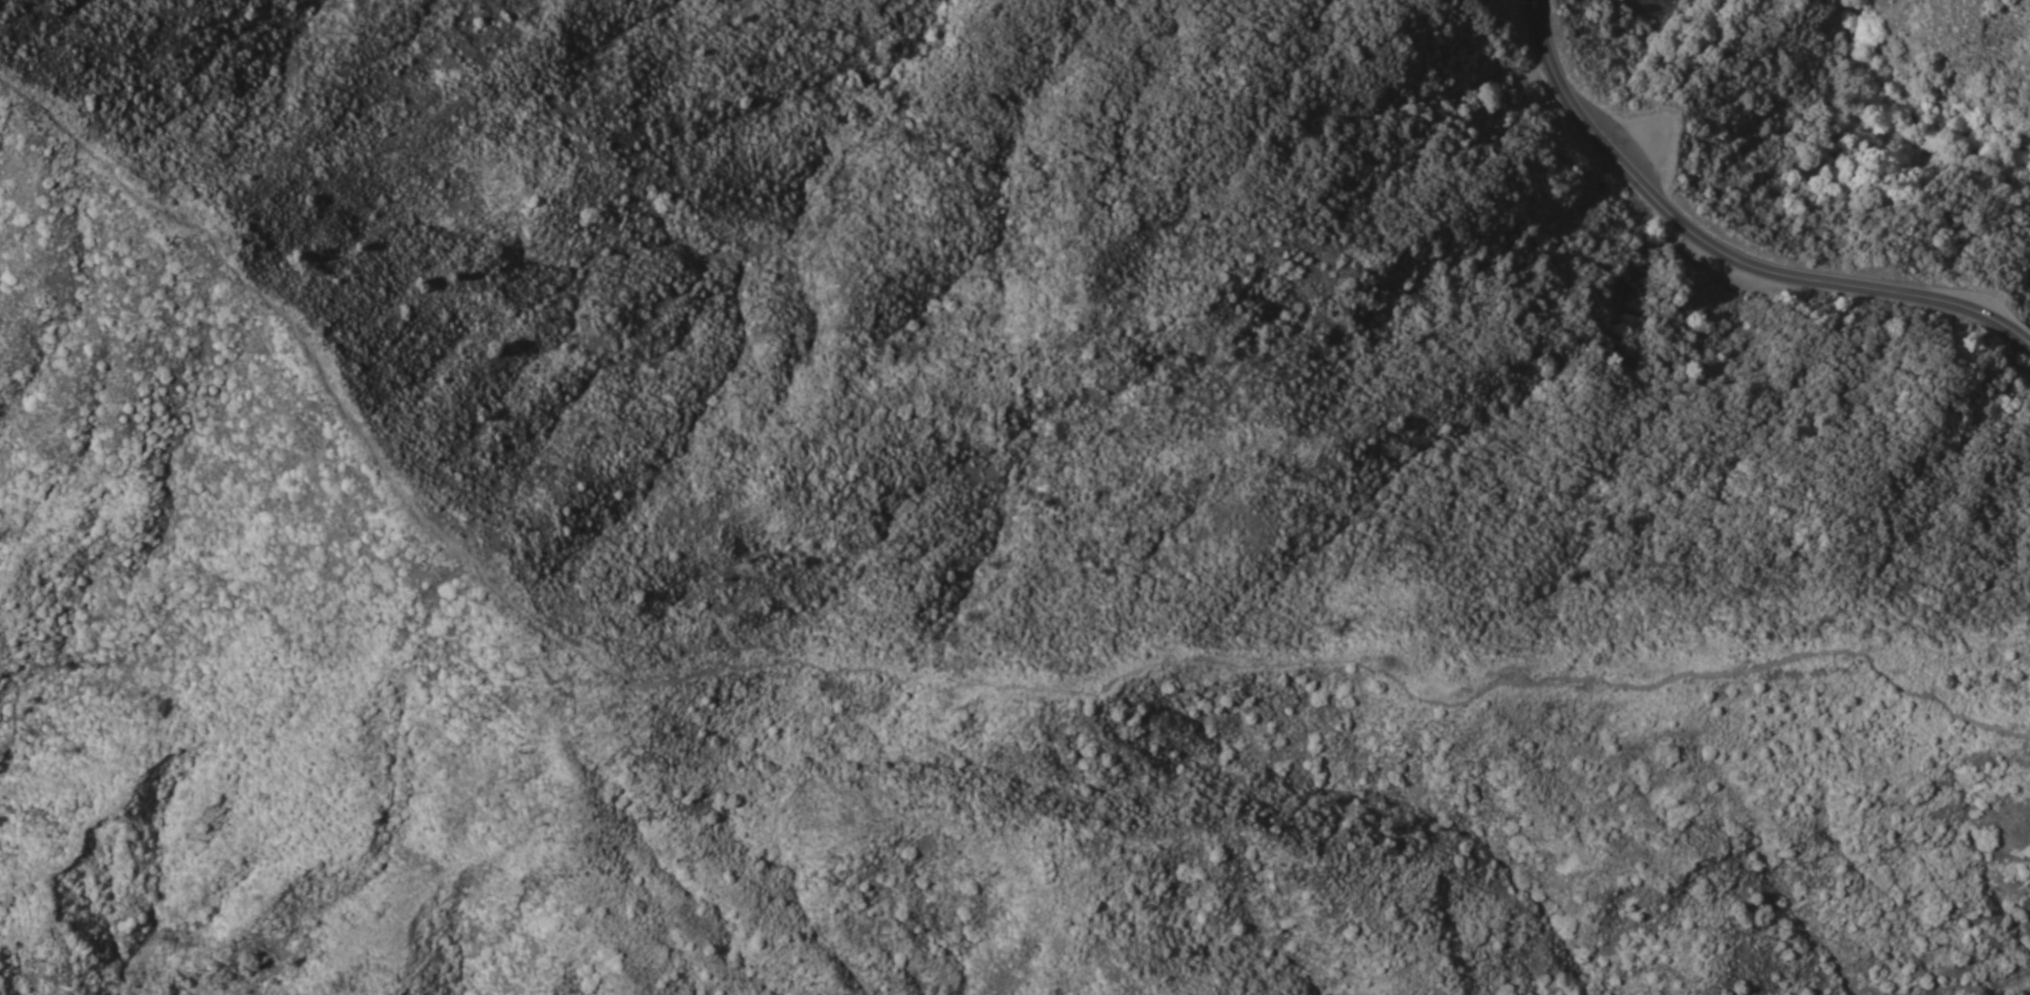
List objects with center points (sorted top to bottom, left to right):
road: (1726, 244)

